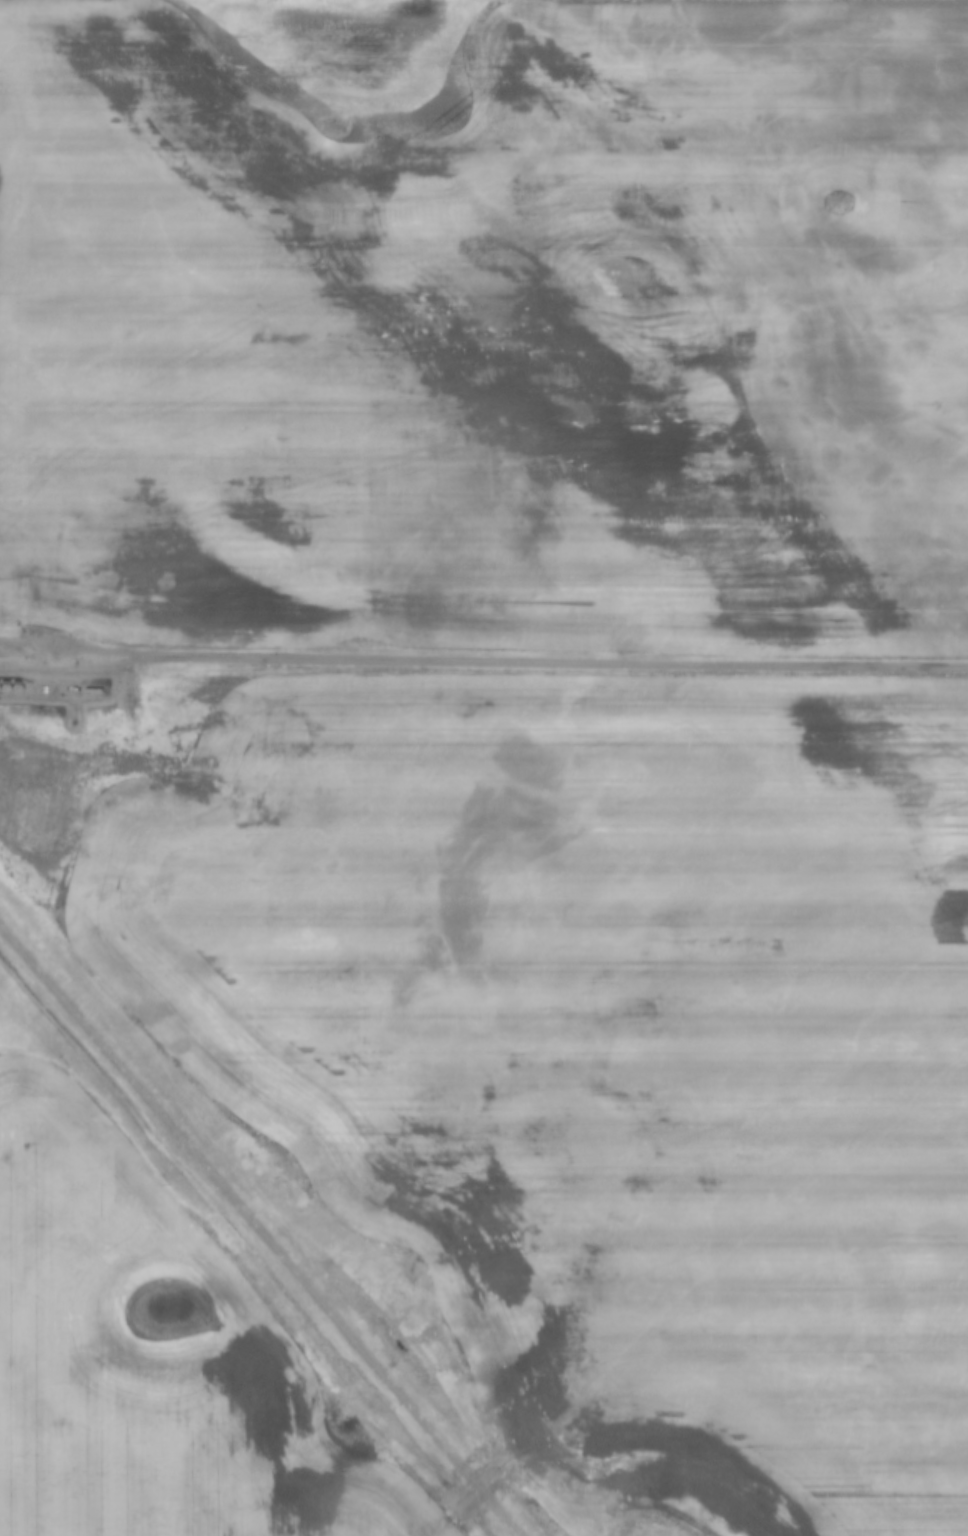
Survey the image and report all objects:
road: (483, 660)
storage tank: (5, 675)

